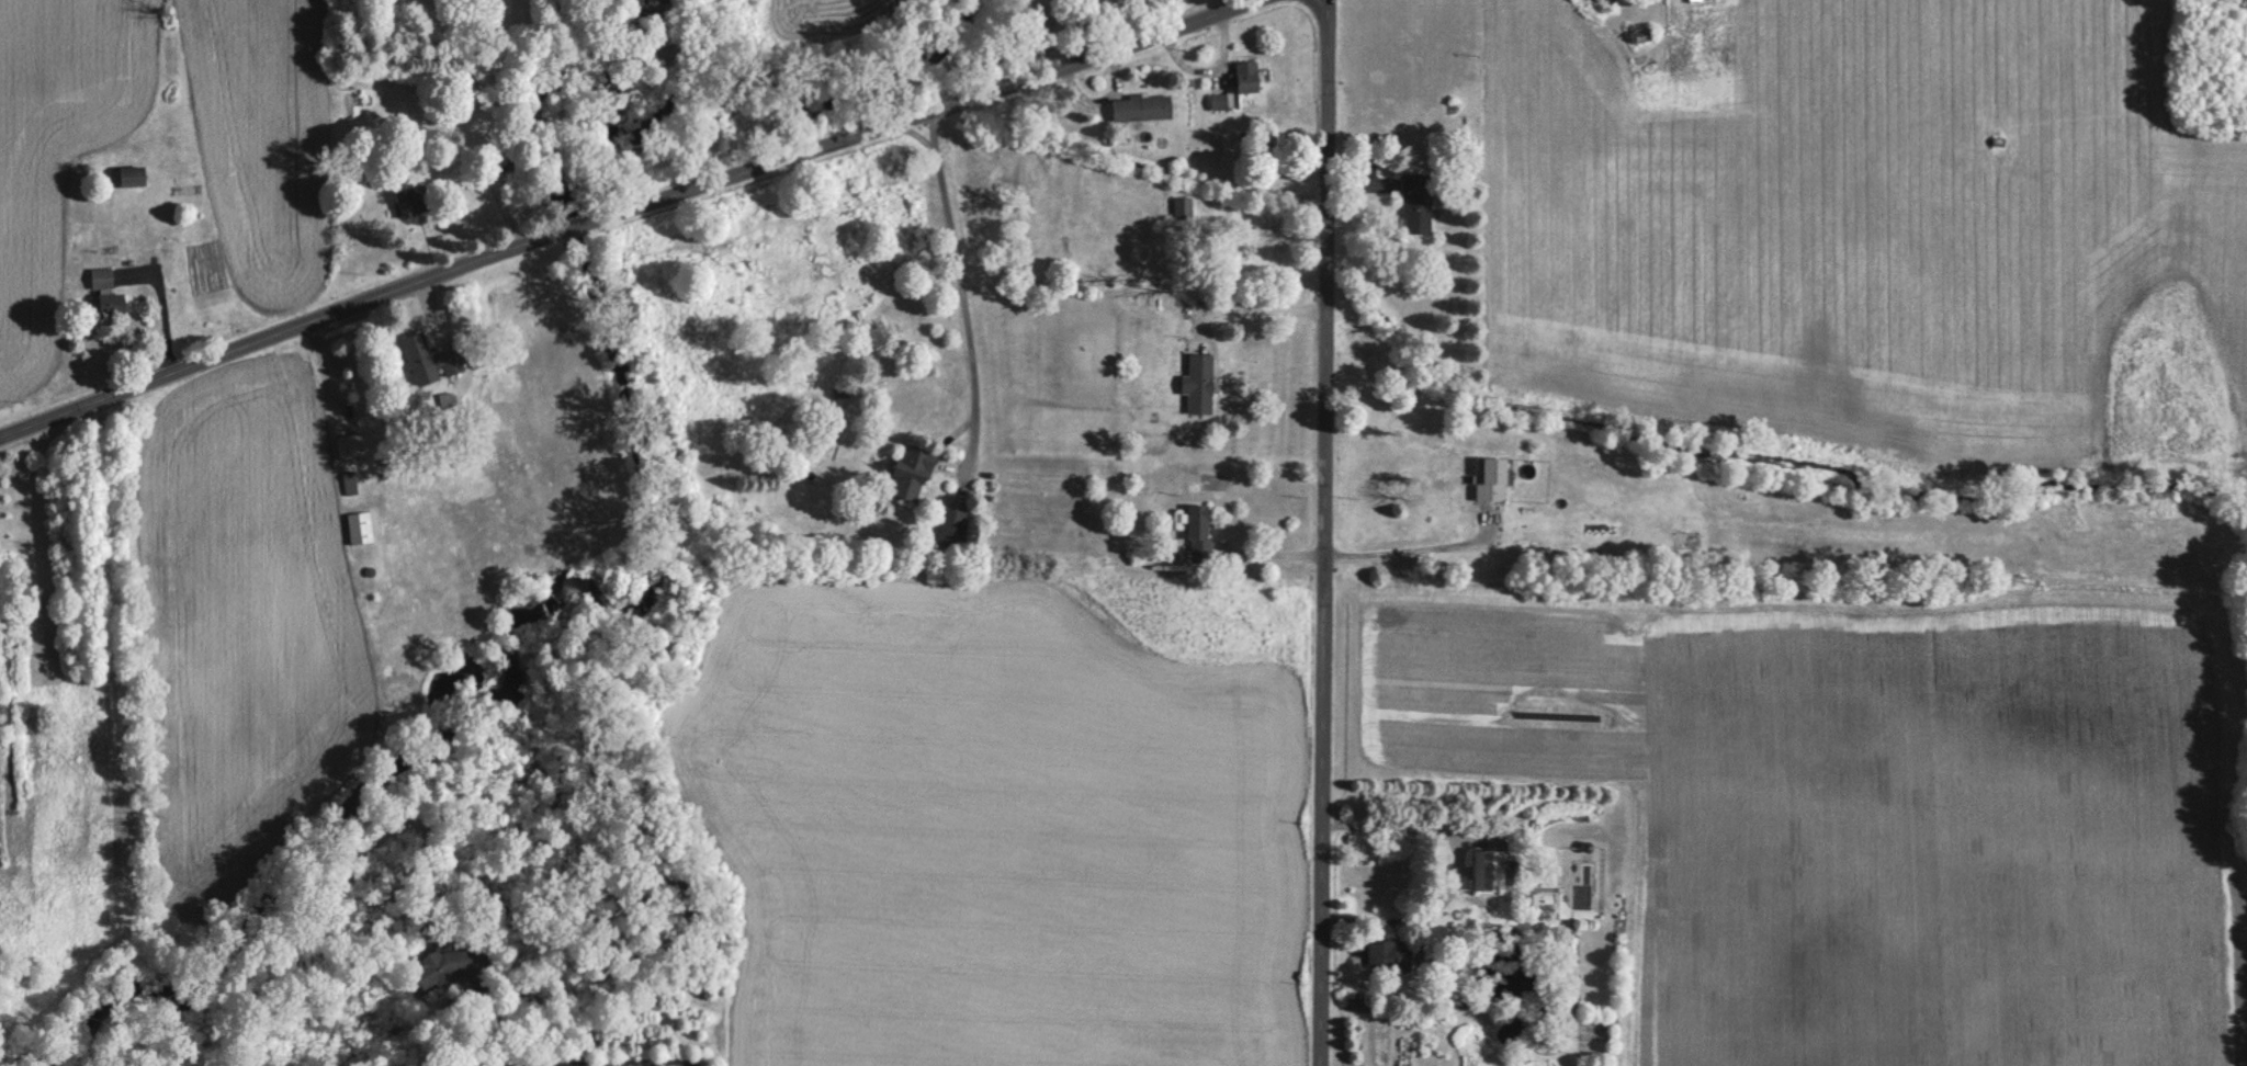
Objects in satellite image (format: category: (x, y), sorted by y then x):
building: (653, 2)
building: (1597, 2)
building: (1246, 77)
building: (1141, 107)
building: (129, 177)
building: (409, 202)
building: (1416, 202)
building: (1177, 208)
road: (634, 214)
building: (105, 291)
road: (967, 302)
road: (1255, 313)
building: (417, 351)
building: (451, 362)
building: (1198, 383)
building: (352, 445)
building: (911, 472)
building: (1492, 478)
building: (359, 526)
building: (951, 528)
building: (1199, 532)
road: (1323, 532)
building: (1684, 540)
road: (1414, 551)
road: (1449, 867)
building: (1489, 871)
building: (1384, 954)
building: (442, 967)
road: (474, 997)
road: (628, 1063)

